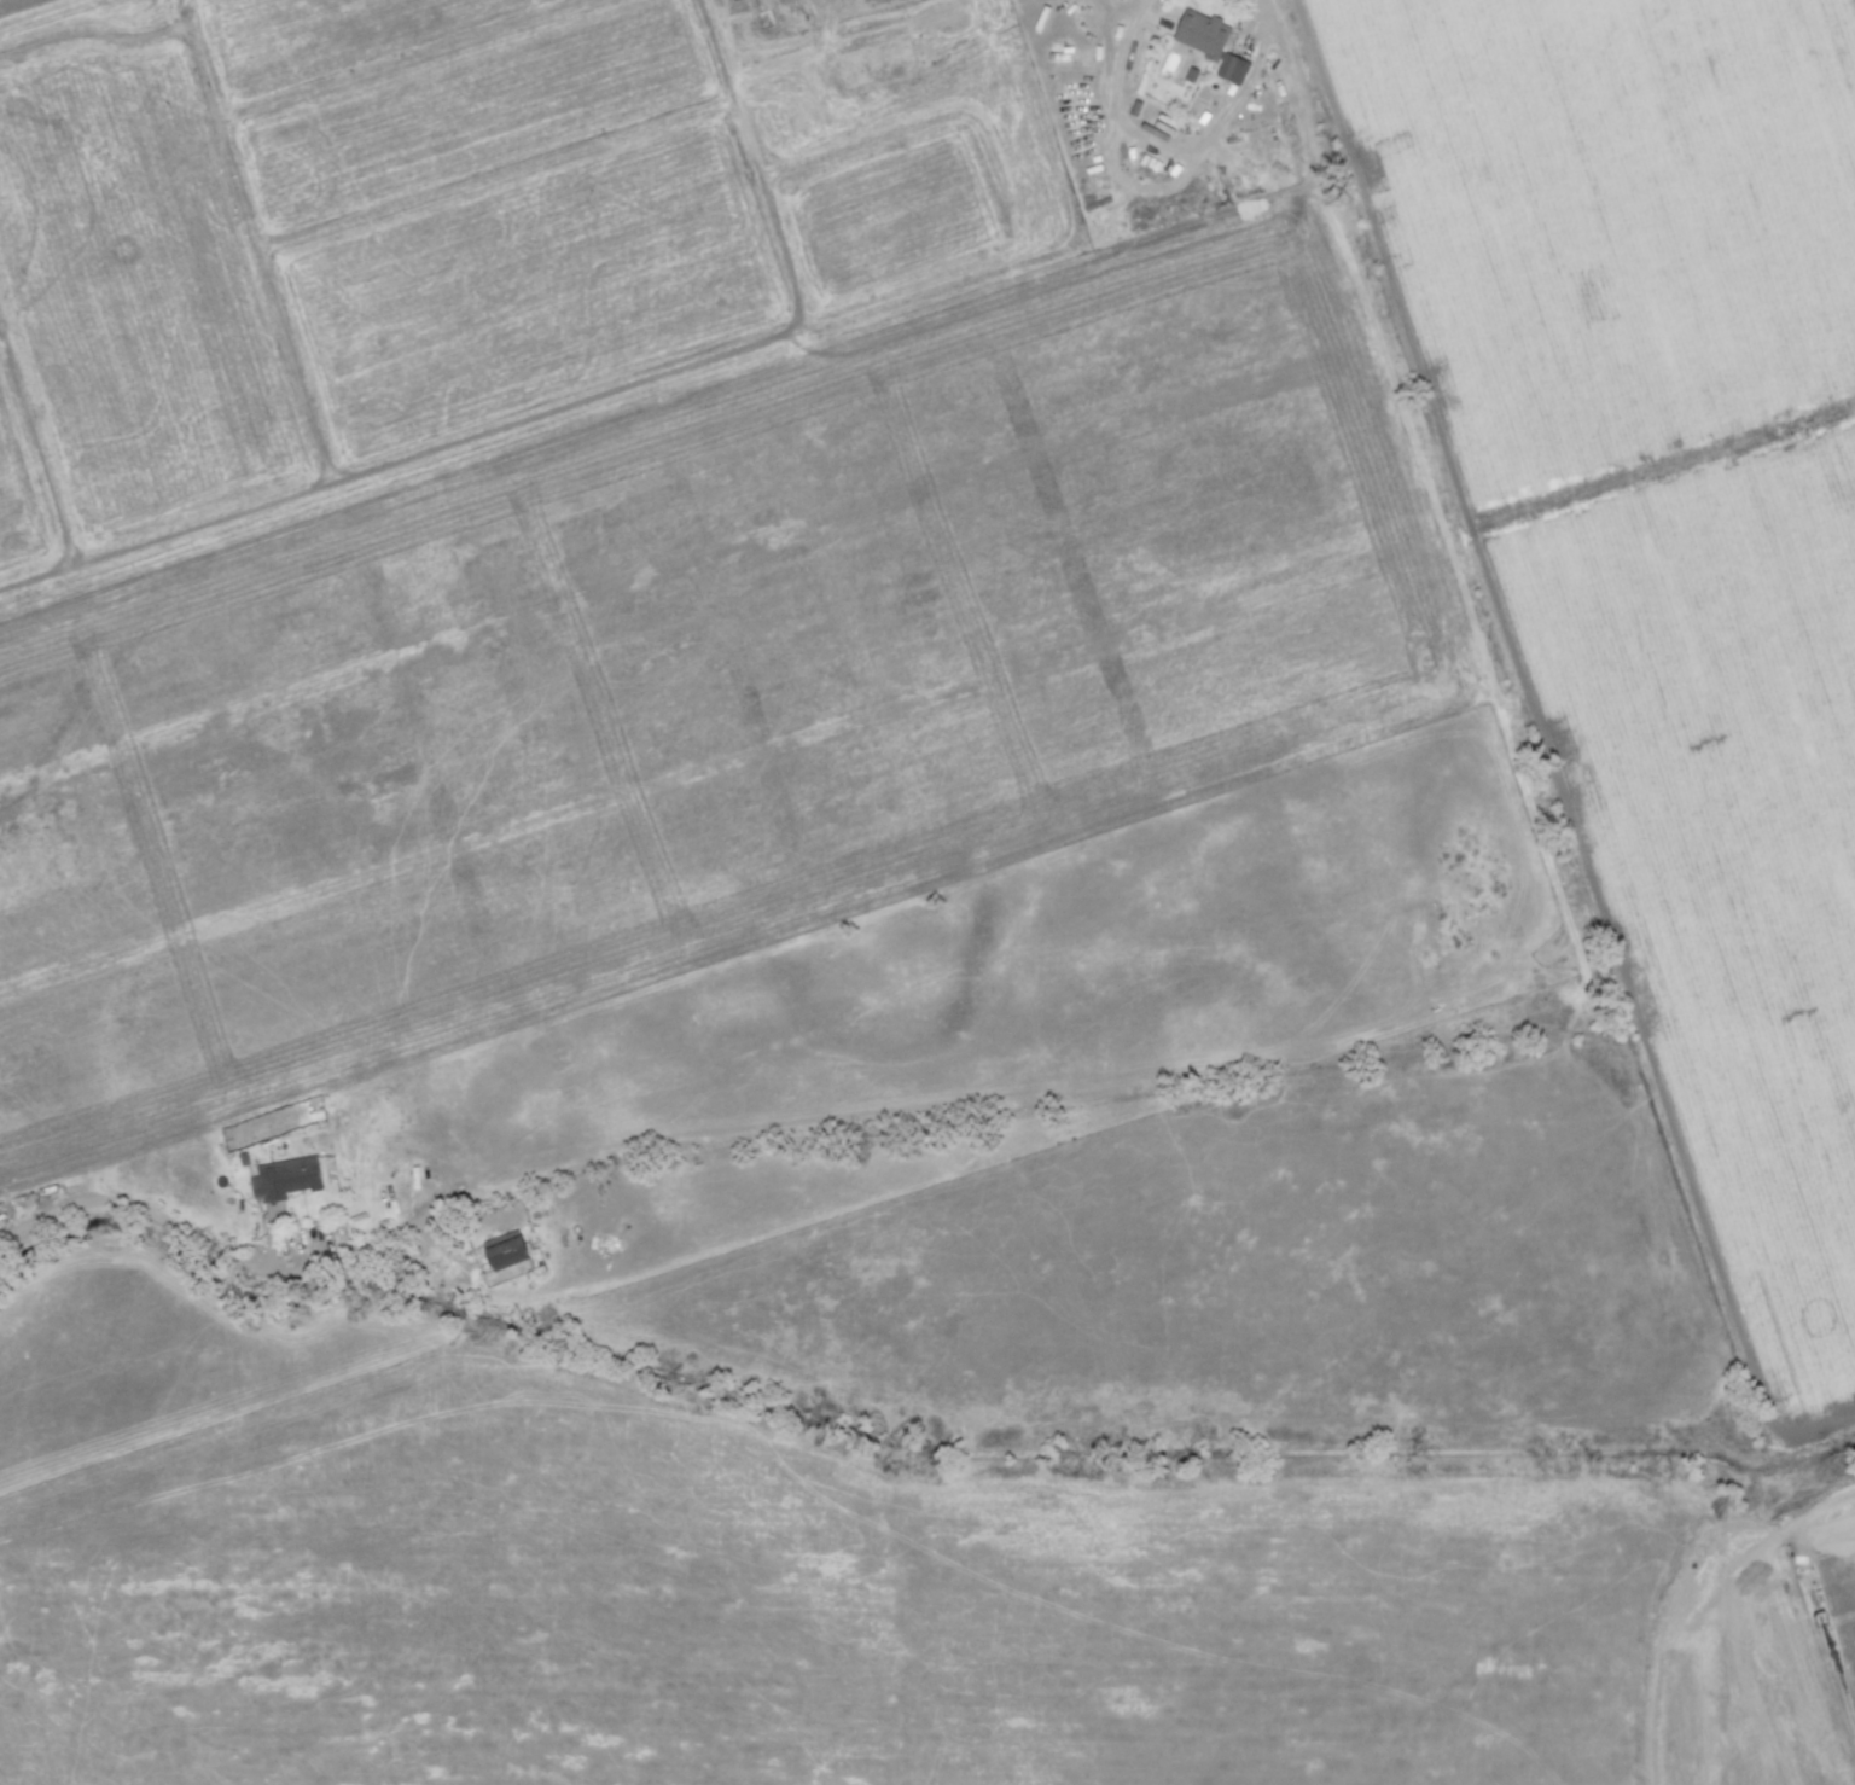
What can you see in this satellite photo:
road: (1262, 12)
building: (1214, 43)
building: (283, 1179)
railway: (114, 1196)
road: (118, 1203)
building: (504, 1250)

